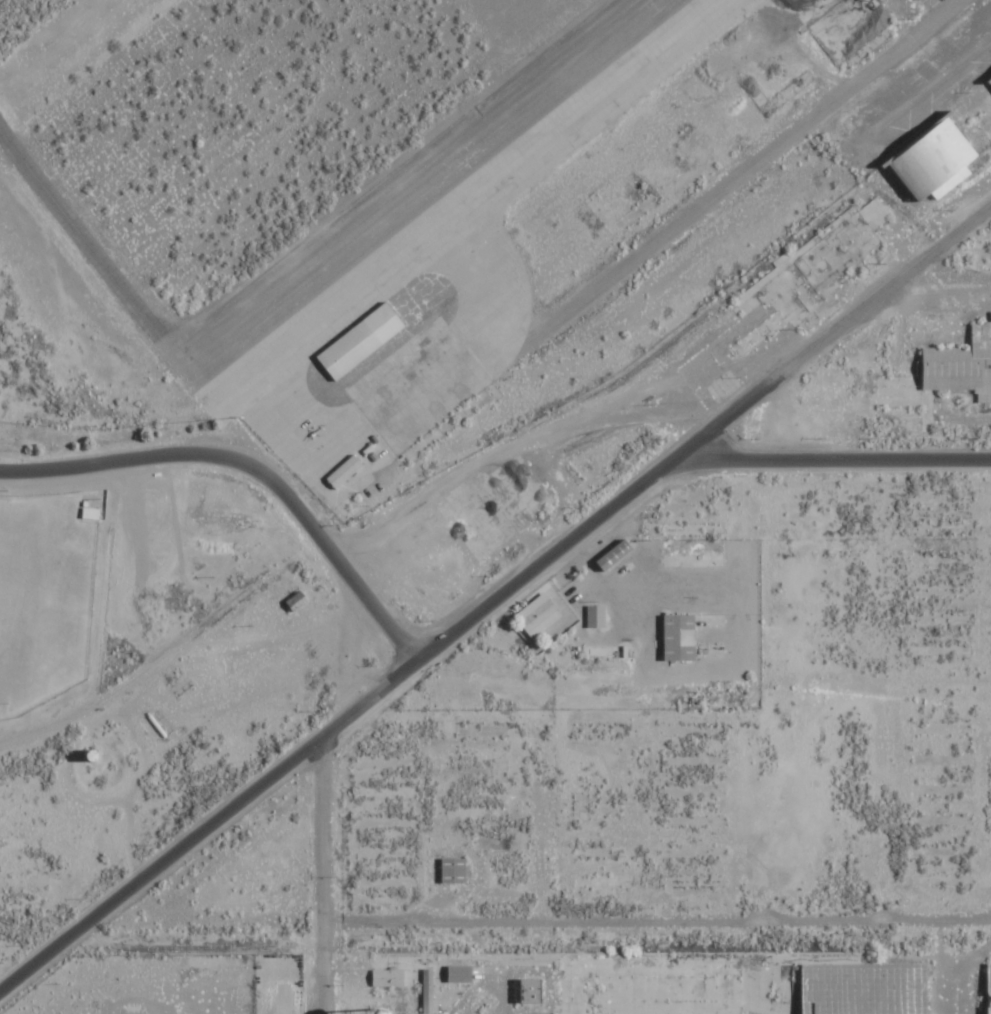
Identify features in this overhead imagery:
building: (916, 0)
building: (938, 158)
road: (942, 283)
airport taxiway: (326, 314)
building: (362, 339)
building: (962, 366)
road: (836, 461)
road: (250, 471)
building: (346, 471)
road: (498, 602)
building: (539, 615)
building: (597, 616)
building: (681, 638)
road: (678, 705)
building: (456, 871)
road: (321, 879)
road: (656, 907)
building: (462, 974)
building: (990, 977)
building: (390, 978)
building: (868, 988)

